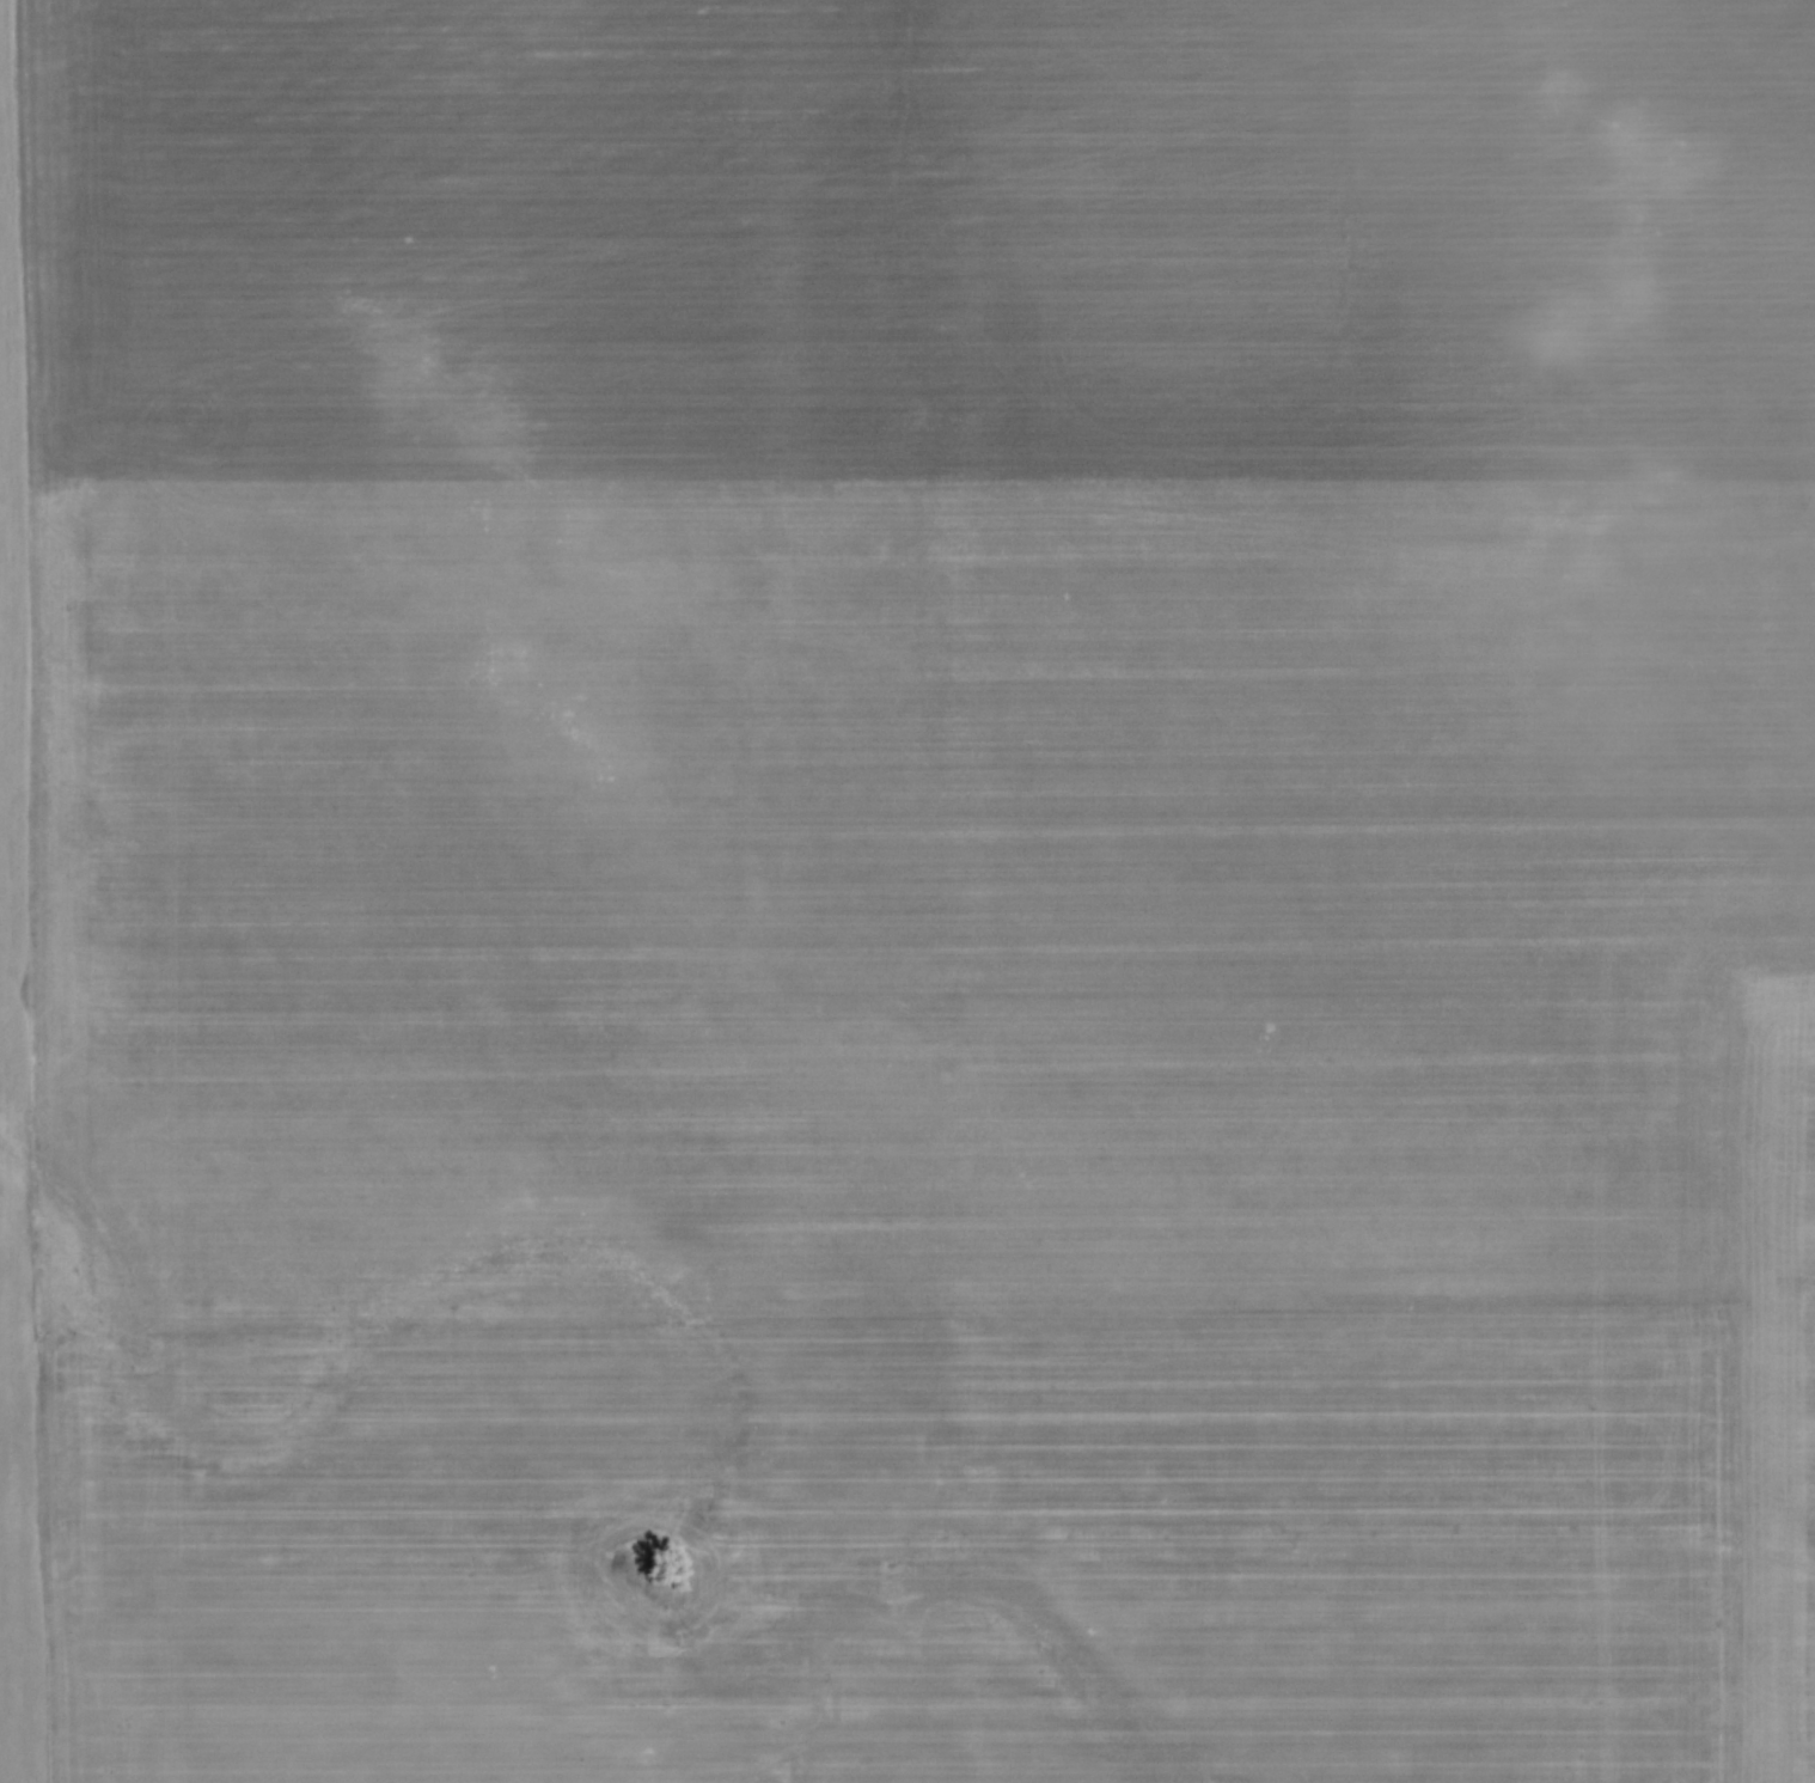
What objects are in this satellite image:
crop: (907, 891)

